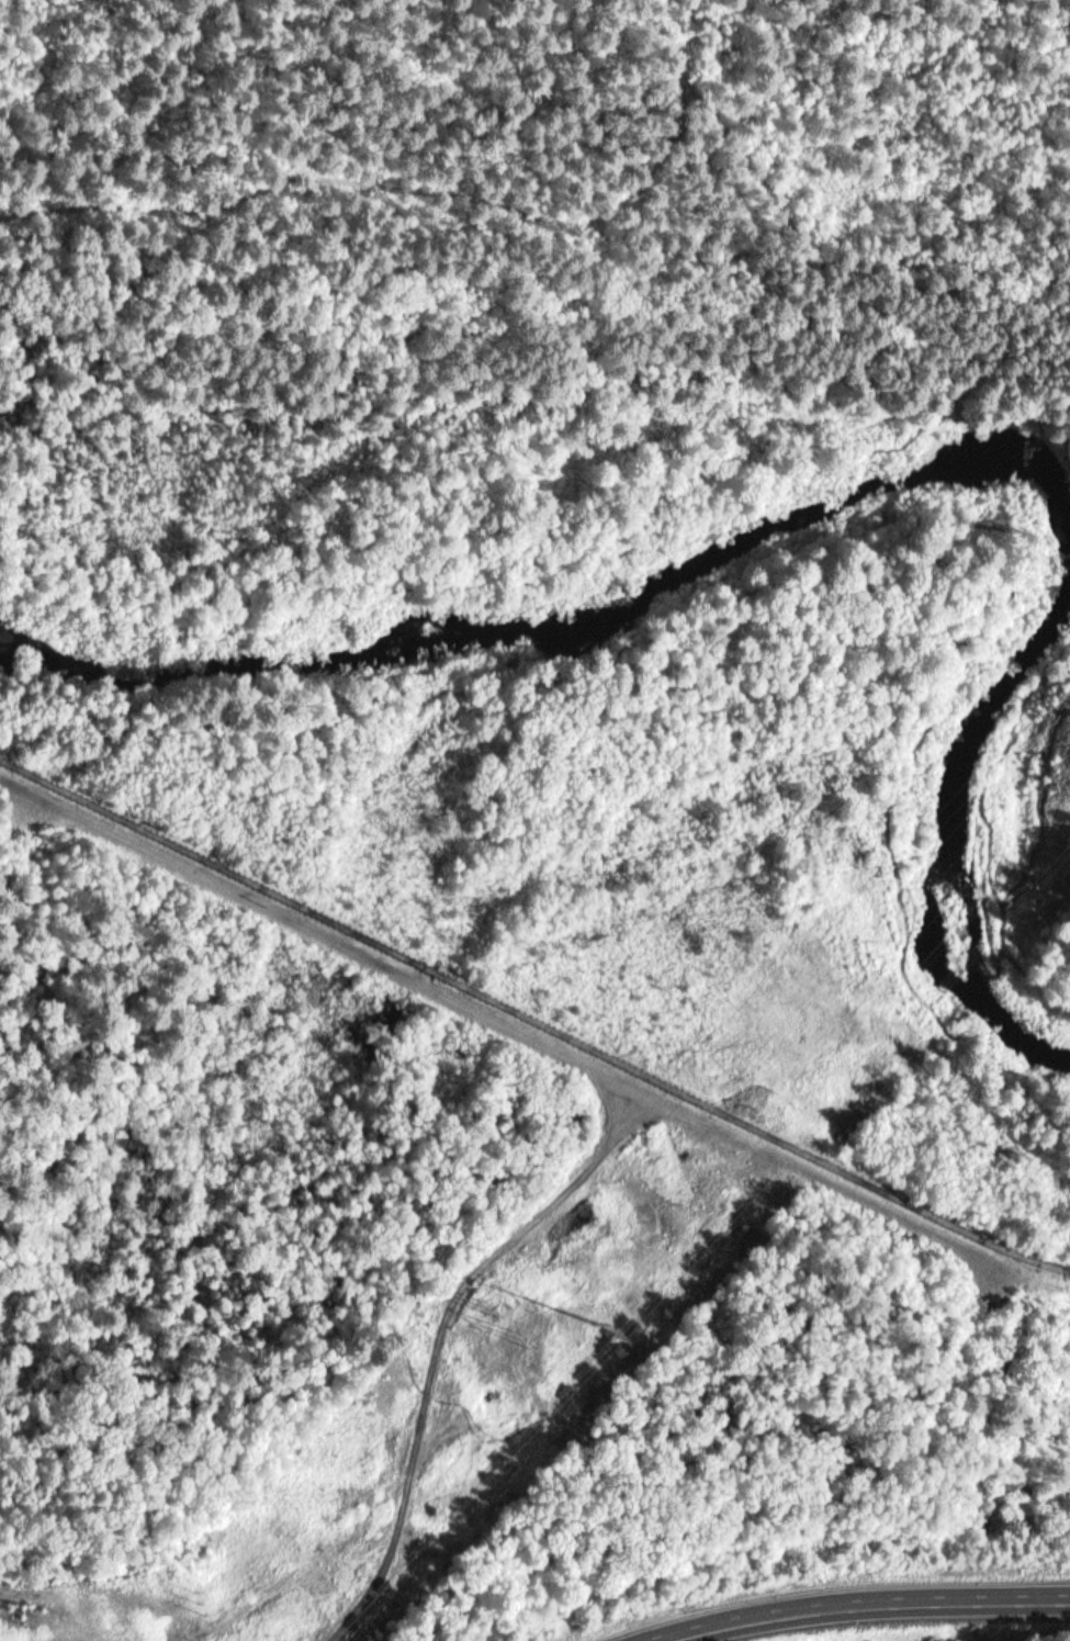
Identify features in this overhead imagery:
road: (716, 126)
road: (536, 213)
road: (832, 566)
road: (550, 575)
road: (1021, 874)
road: (1069, 976)
road: (1054, 1012)
road: (516, 1026)
power tower: (491, 1306)
power tower: (599, 1325)
power tower: (527, 1338)
road: (442, 1342)
road: (468, 1417)
road: (60, 1601)
power tower: (198, 1603)
road: (855, 1603)
power tower: (30, 1620)

